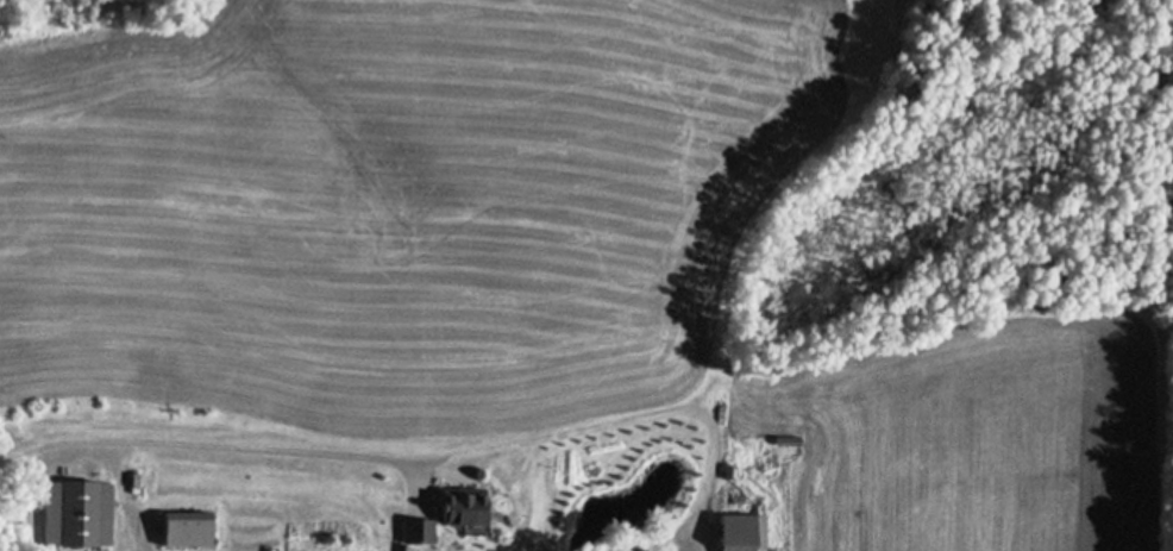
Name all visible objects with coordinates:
road: (409, 461)
building: (462, 502)
building: (84, 509)
building: (416, 527)
building: (741, 531)

